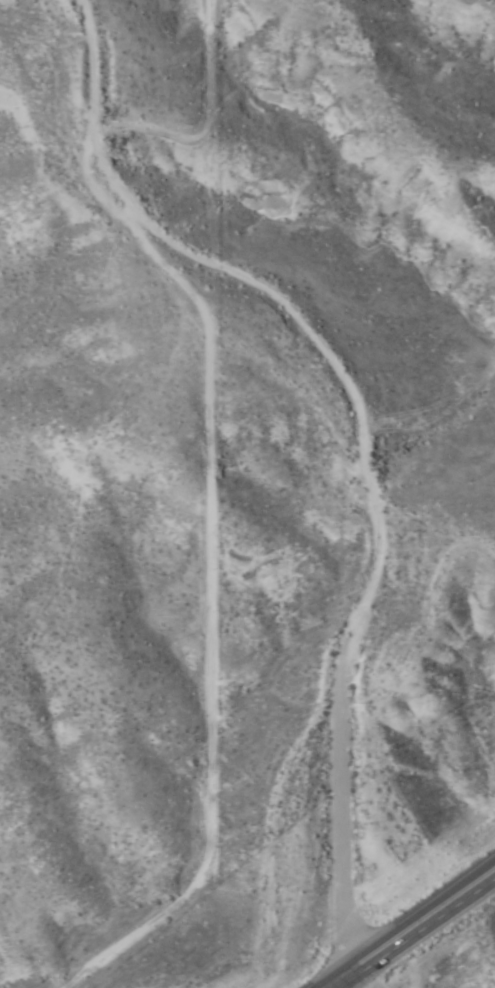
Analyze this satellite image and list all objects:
road: (357, 442)
road: (418, 922)
road: (333, 982)

